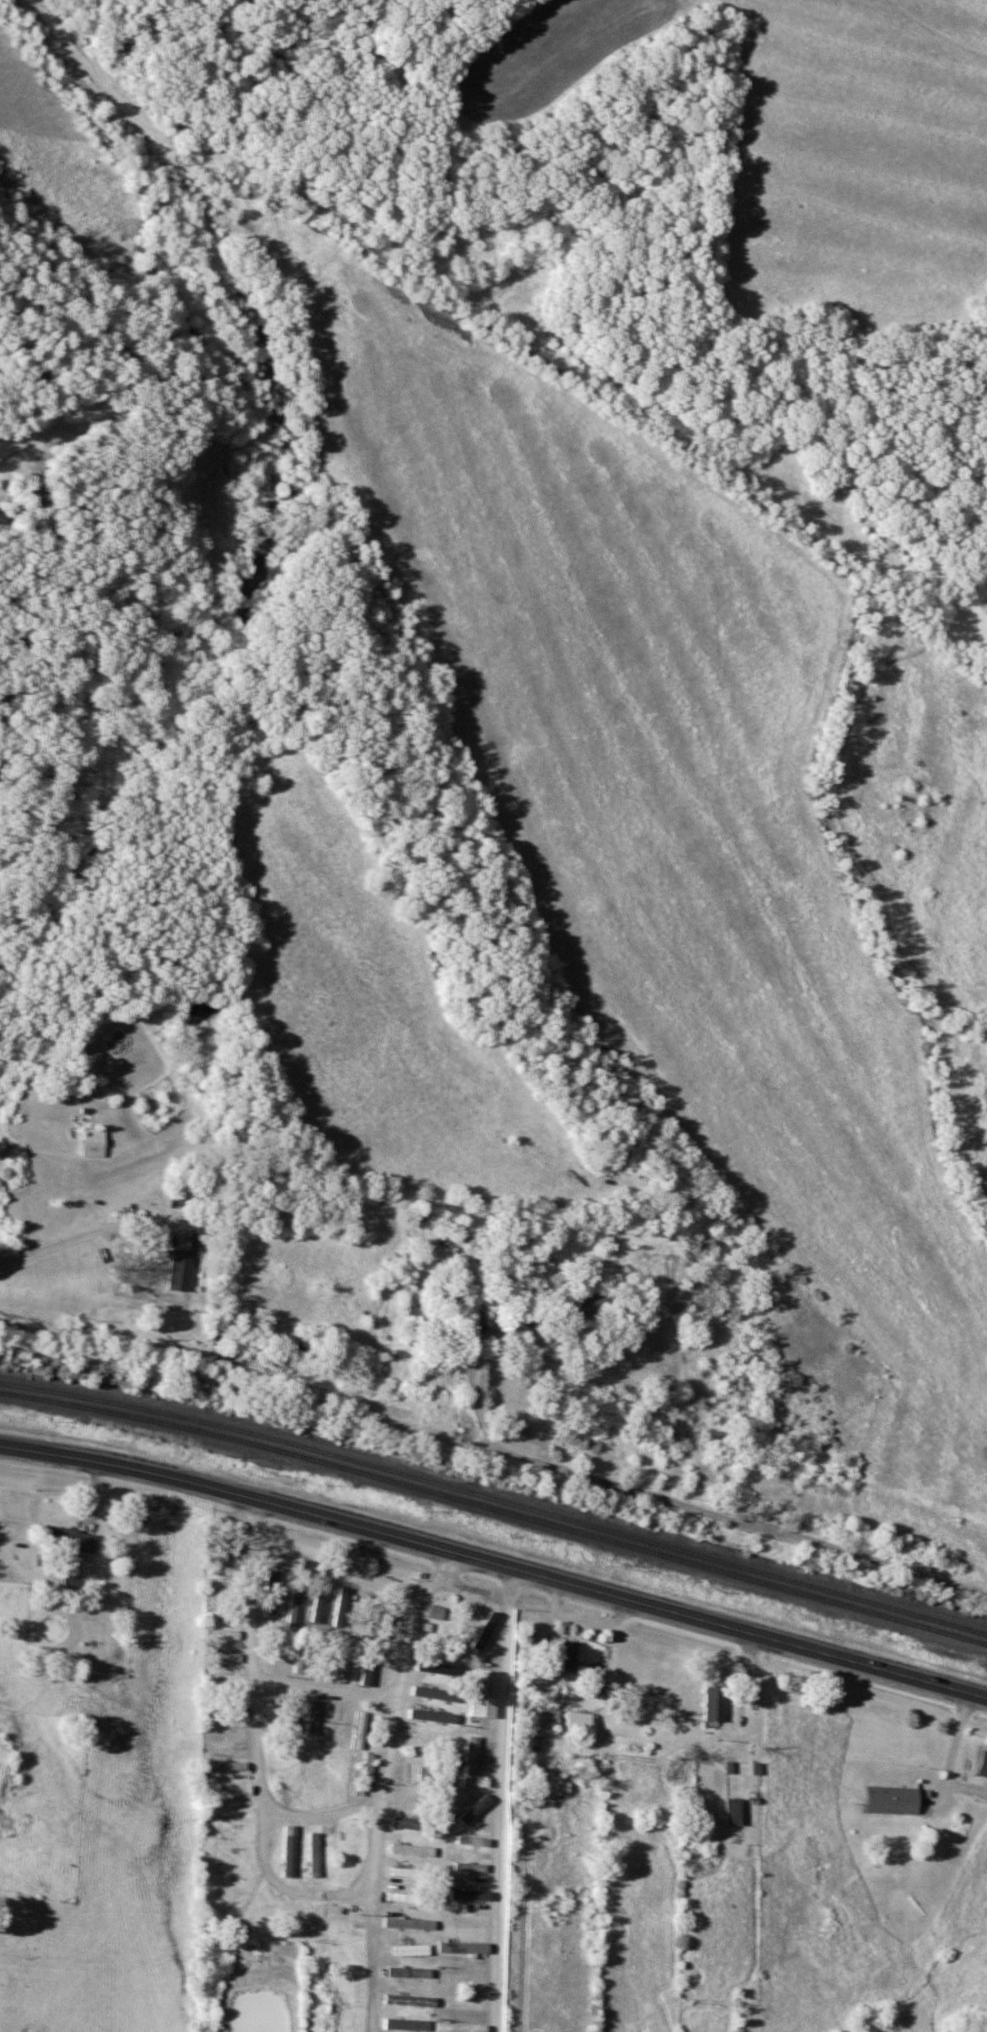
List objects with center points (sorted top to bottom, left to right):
building: (96, 1142)
building: (452, 1222)
building: (200, 1238)
road: (45, 1245)
building: (165, 1246)
building: (592, 1307)
building: (419, 1311)
railway: (495, 1499)
railway: (495, 1509)
building: (74, 1540)
road: (495, 1563)
road: (338, 1568)
road: (475, 1589)
building: (316, 1605)
building: (296, 1606)
road: (574, 1615)
building: (223, 1634)
building: (496, 1634)
building: (226, 1657)
building: (569, 1657)
building: (301, 1661)
building: (344, 1668)
building: (369, 1674)
road: (324, 1688)
building: (487, 1694)
building: (717, 1706)
building: (268, 1713)
building: (314, 1717)
building: (552, 1718)
building: (290, 1720)
building: (581, 1722)
building: (361, 1730)
building: (476, 1758)
building: (984, 1765)
building: (233, 1766)
building: (368, 1771)
road: (502, 1799)
building: (895, 1800)
building: (408, 1801)
building: (737, 1811)
road: (301, 1818)
building: (234, 1819)
building: (405, 1822)
building: (475, 1841)
building: (414, 1850)
building: (314, 1855)
building: (472, 1867)
building: (467, 1895)
building: (403, 1897)
road: (374, 1917)
building: (411, 1924)
building: (465, 1947)
building: (412, 1948)
building: (411, 2000)
building: (466, 2006)
building: (410, 2024)
building: (464, 2027)

